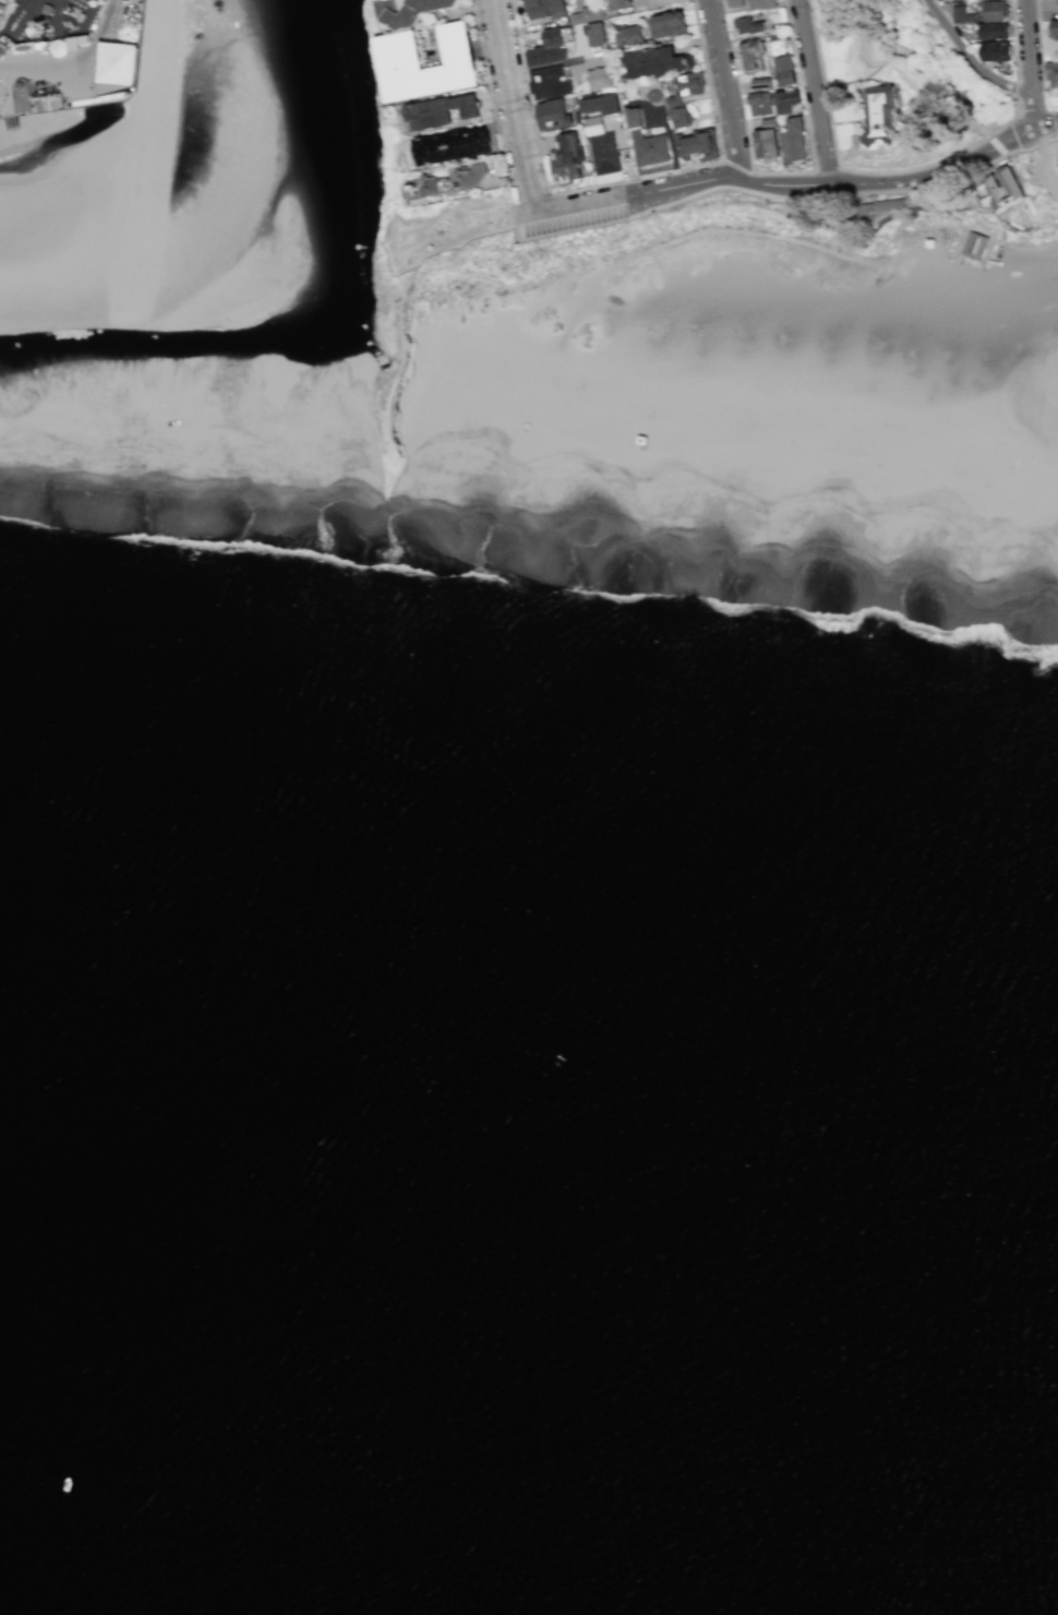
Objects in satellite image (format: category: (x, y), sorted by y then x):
building: (946, 0)
building: (4, 1)
building: (1057, 1)
building: (735, 3)
building: (762, 3)
building: (621, 4)
building: (1, 7)
building: (44, 9)
building: (410, 11)
building: (548, 11)
building: (995, 11)
building: (587, 13)
road: (786, 15)
building: (963, 15)
building: (668, 25)
building: (749, 26)
building: (1055, 29)
building: (995, 32)
building: (597, 36)
building: (632, 36)
building: (555, 37)
road: (1013, 39)
road: (1039, 43)
building: (39, 47)
building: (23, 49)
building: (57, 49)
building: (996, 50)
building: (400, 51)
theme park: (67, 53)
building: (753, 55)
building: (545, 56)
road: (969, 61)
road: (1031, 61)
building: (654, 62)
building: (116, 63)
road: (79, 68)
building: (785, 71)
building: (1053, 72)
building: (598, 76)
road: (855, 80)
road: (1021, 80)
road: (823, 81)
road: (885, 81)
building: (546, 82)
building: (760, 83)
road: (816, 85)
road: (910, 85)
building: (686, 86)
road: (726, 92)
park: (910, 96)
building: (22, 97)
building: (786, 100)
building: (601, 104)
building: (761, 104)
park: (329, 108)
building: (442, 109)
building: (555, 115)
building: (882, 116)
building: (634, 117)
building: (681, 117)
road: (1010, 117)
road: (849, 124)
road: (1043, 133)
road: (856, 140)
building: (796, 141)
road: (1051, 141)
building: (769, 143)
building: (454, 144)
road: (997, 144)
building: (699, 145)
road: (749, 145)
building: (649, 147)
road: (1026, 151)
building: (604, 153)
road: (870, 154)
building: (569, 156)
road: (738, 166)
road: (1047, 167)
road: (917, 169)
road: (828, 170)
road: (814, 171)
road: (834, 177)
road: (616, 180)
building: (447, 182)
road: (695, 184)
building: (1000, 189)
road: (529, 196)
building: (894, 204)
road: (644, 211)
parking lot: (573, 219)
road: (603, 236)
road: (455, 244)
building: (976, 249)
river: (336, 336)
road: (401, 367)
building: (147, 411)

